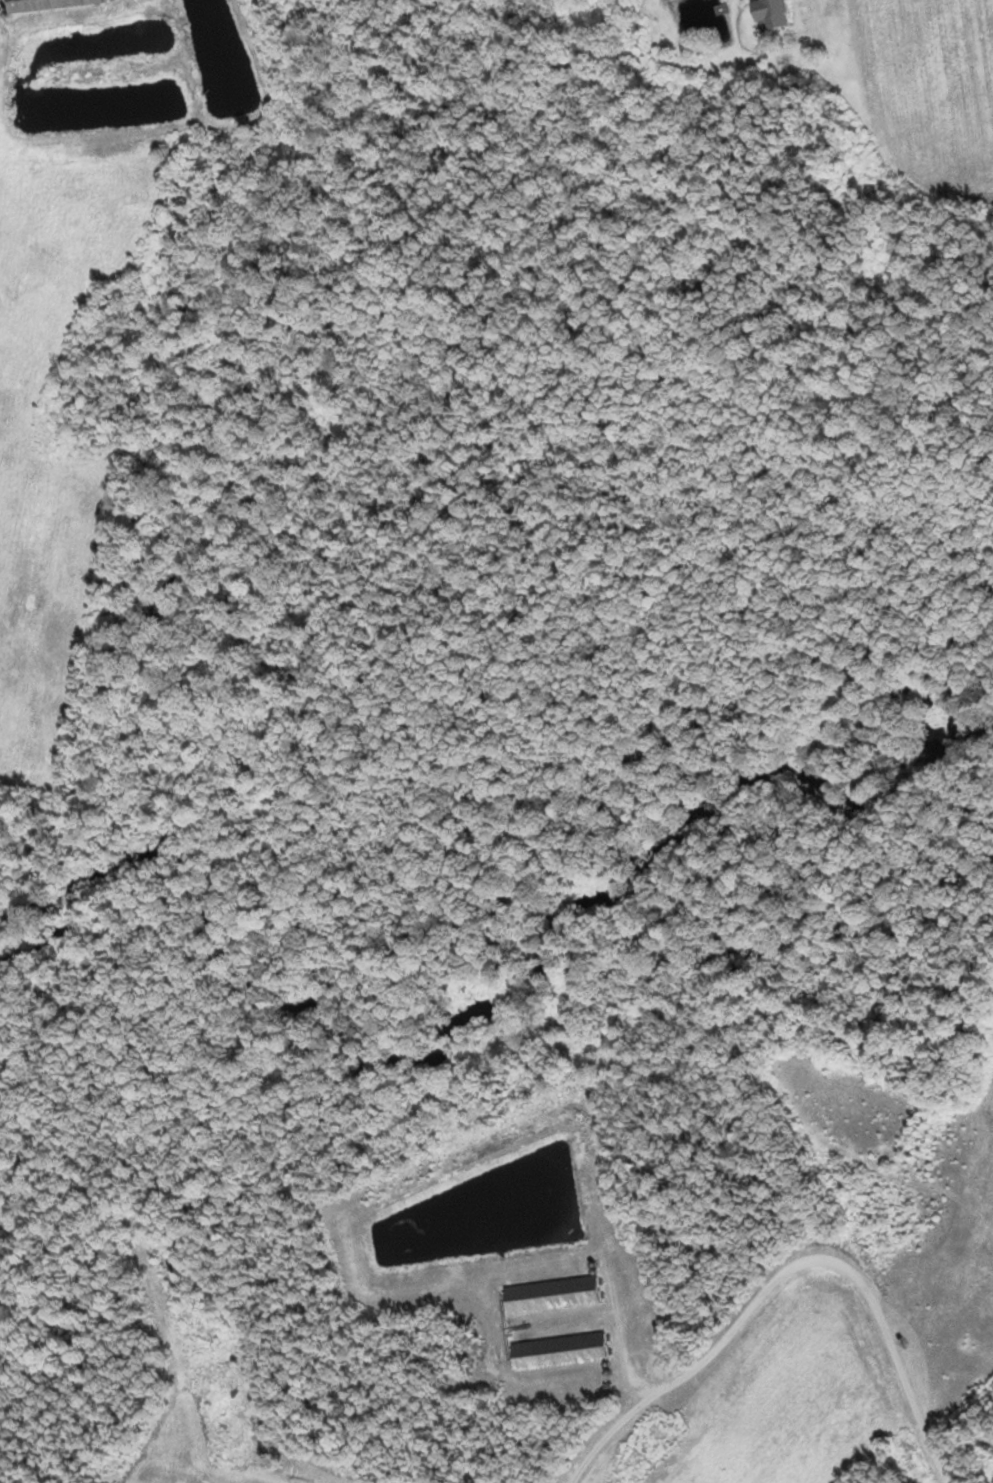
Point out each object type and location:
building: (44, 5)
building: (768, 12)
building: (548, 1295)
building: (556, 1351)
road: (882, 1375)
road: (628, 1407)
building: (629, 1462)

